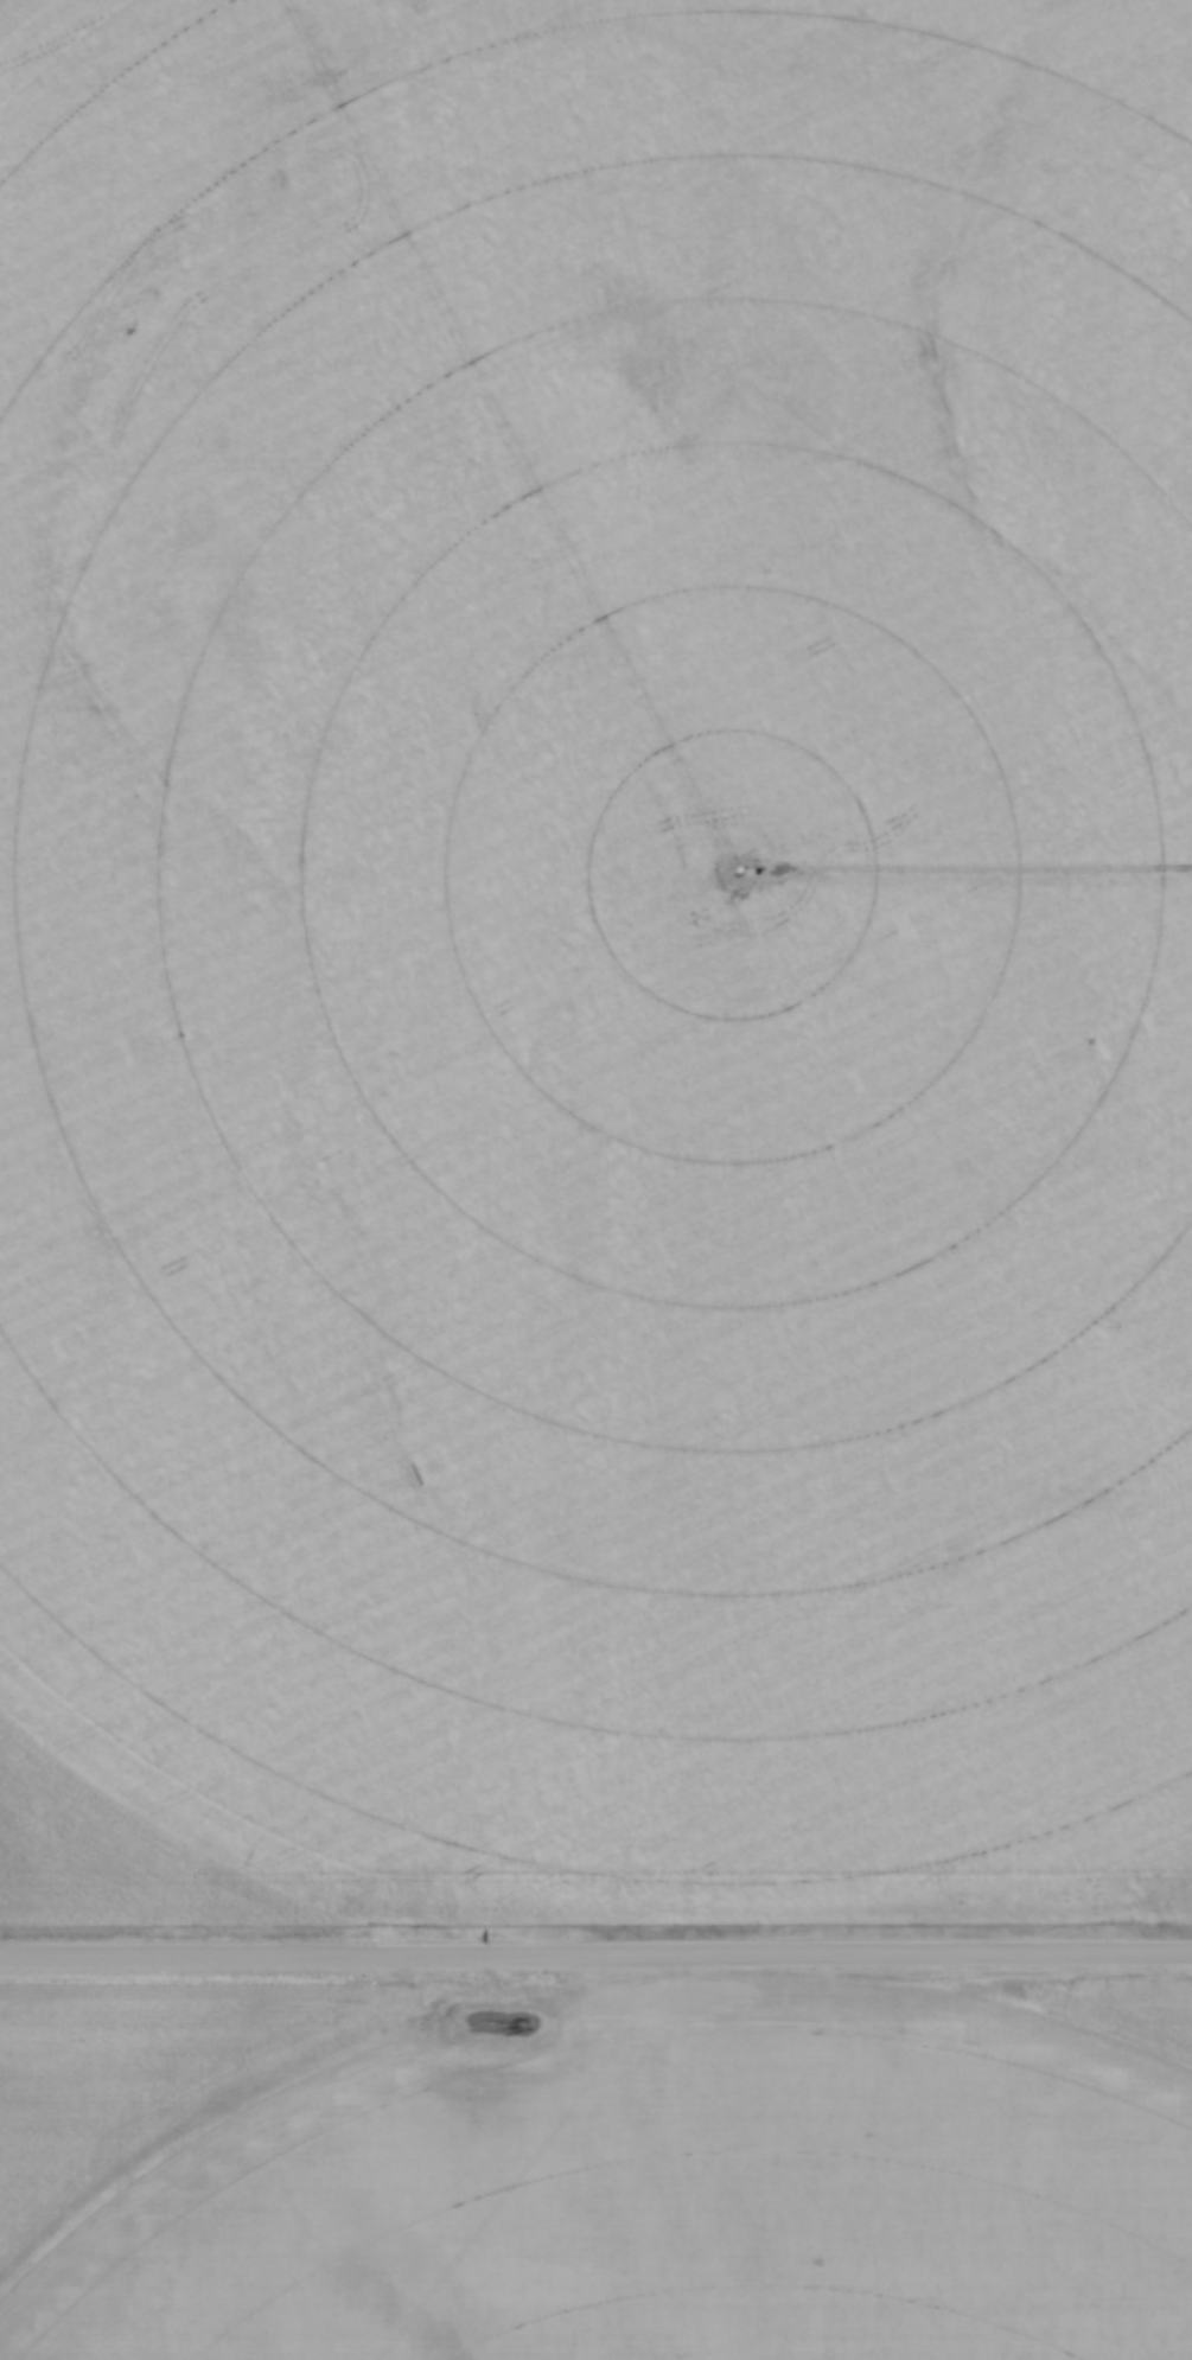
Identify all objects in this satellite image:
road: (595, 1953)

